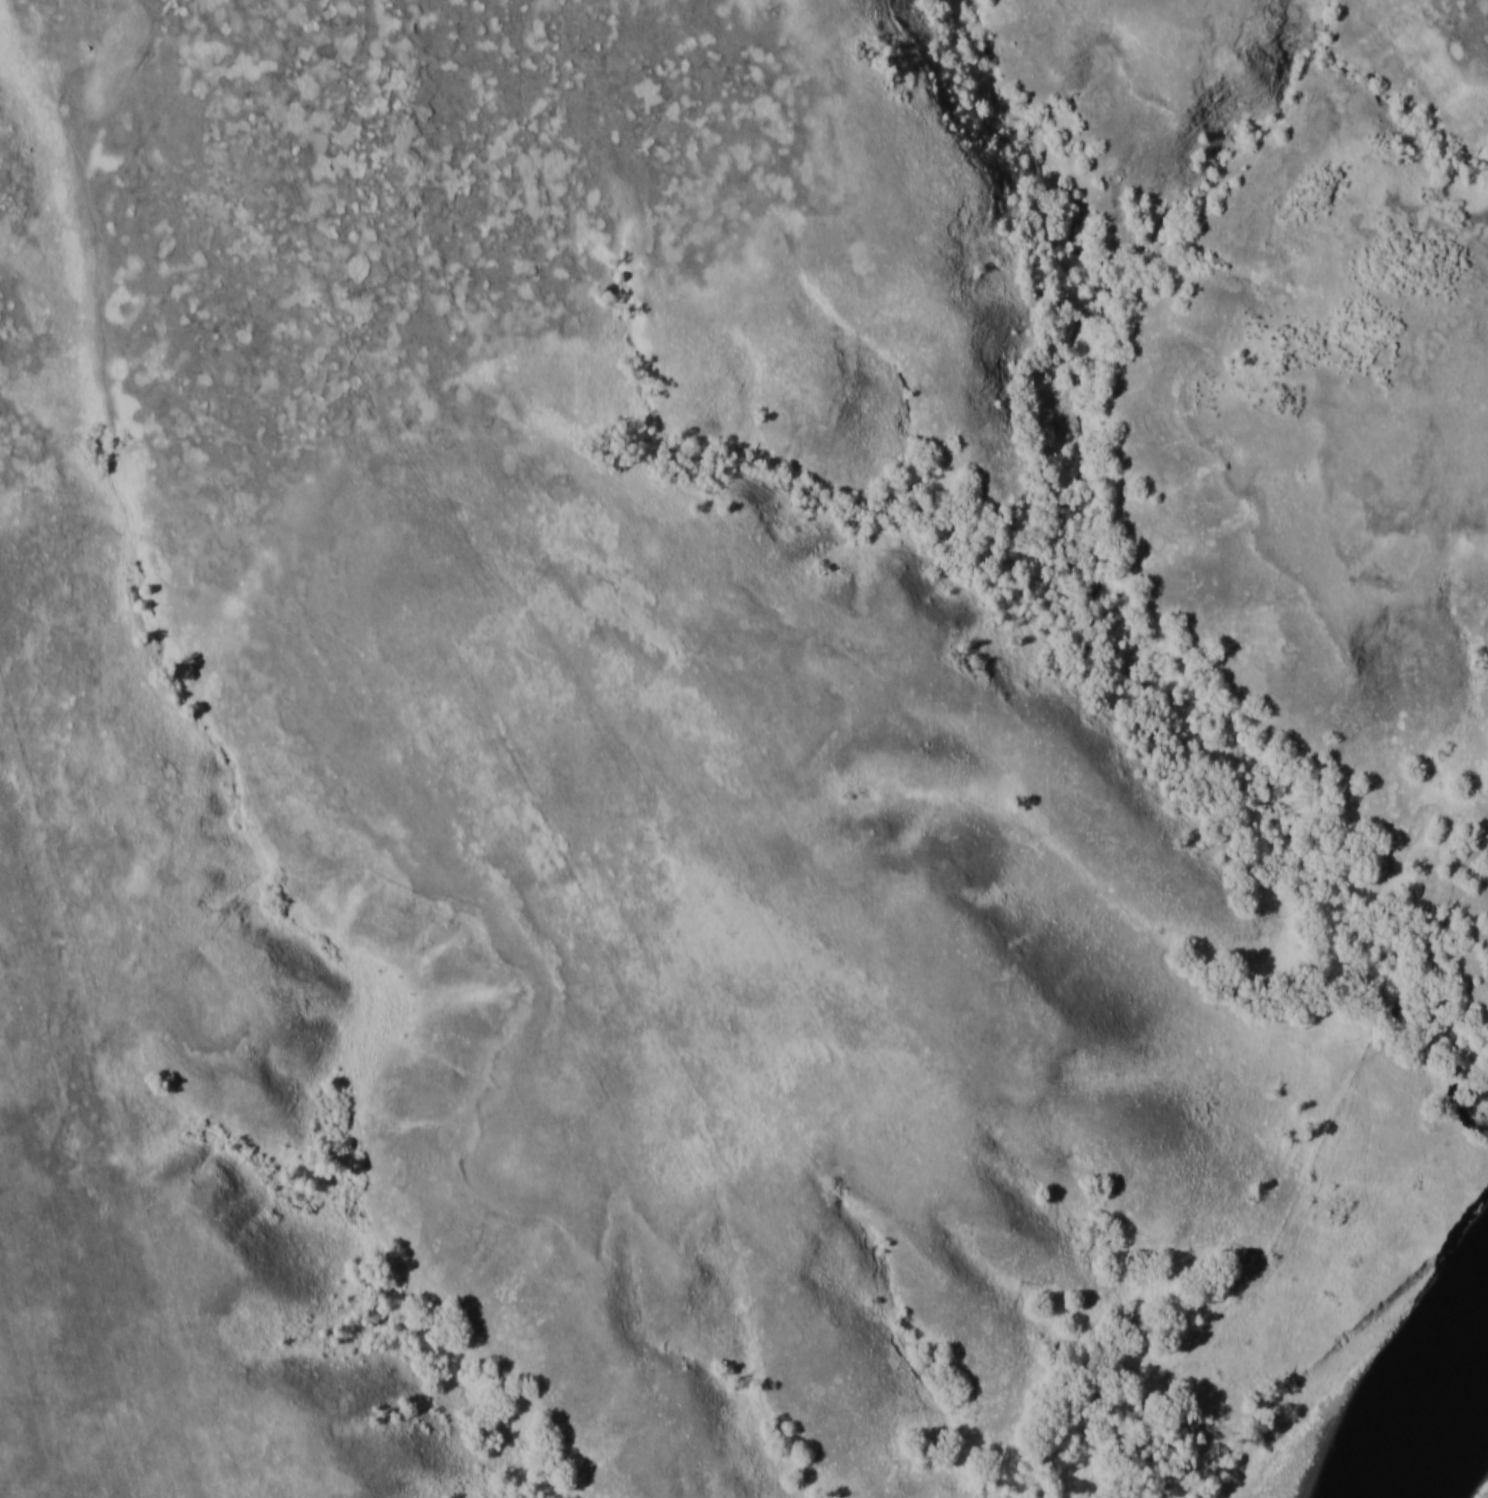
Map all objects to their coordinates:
river: (1429, 1417)

